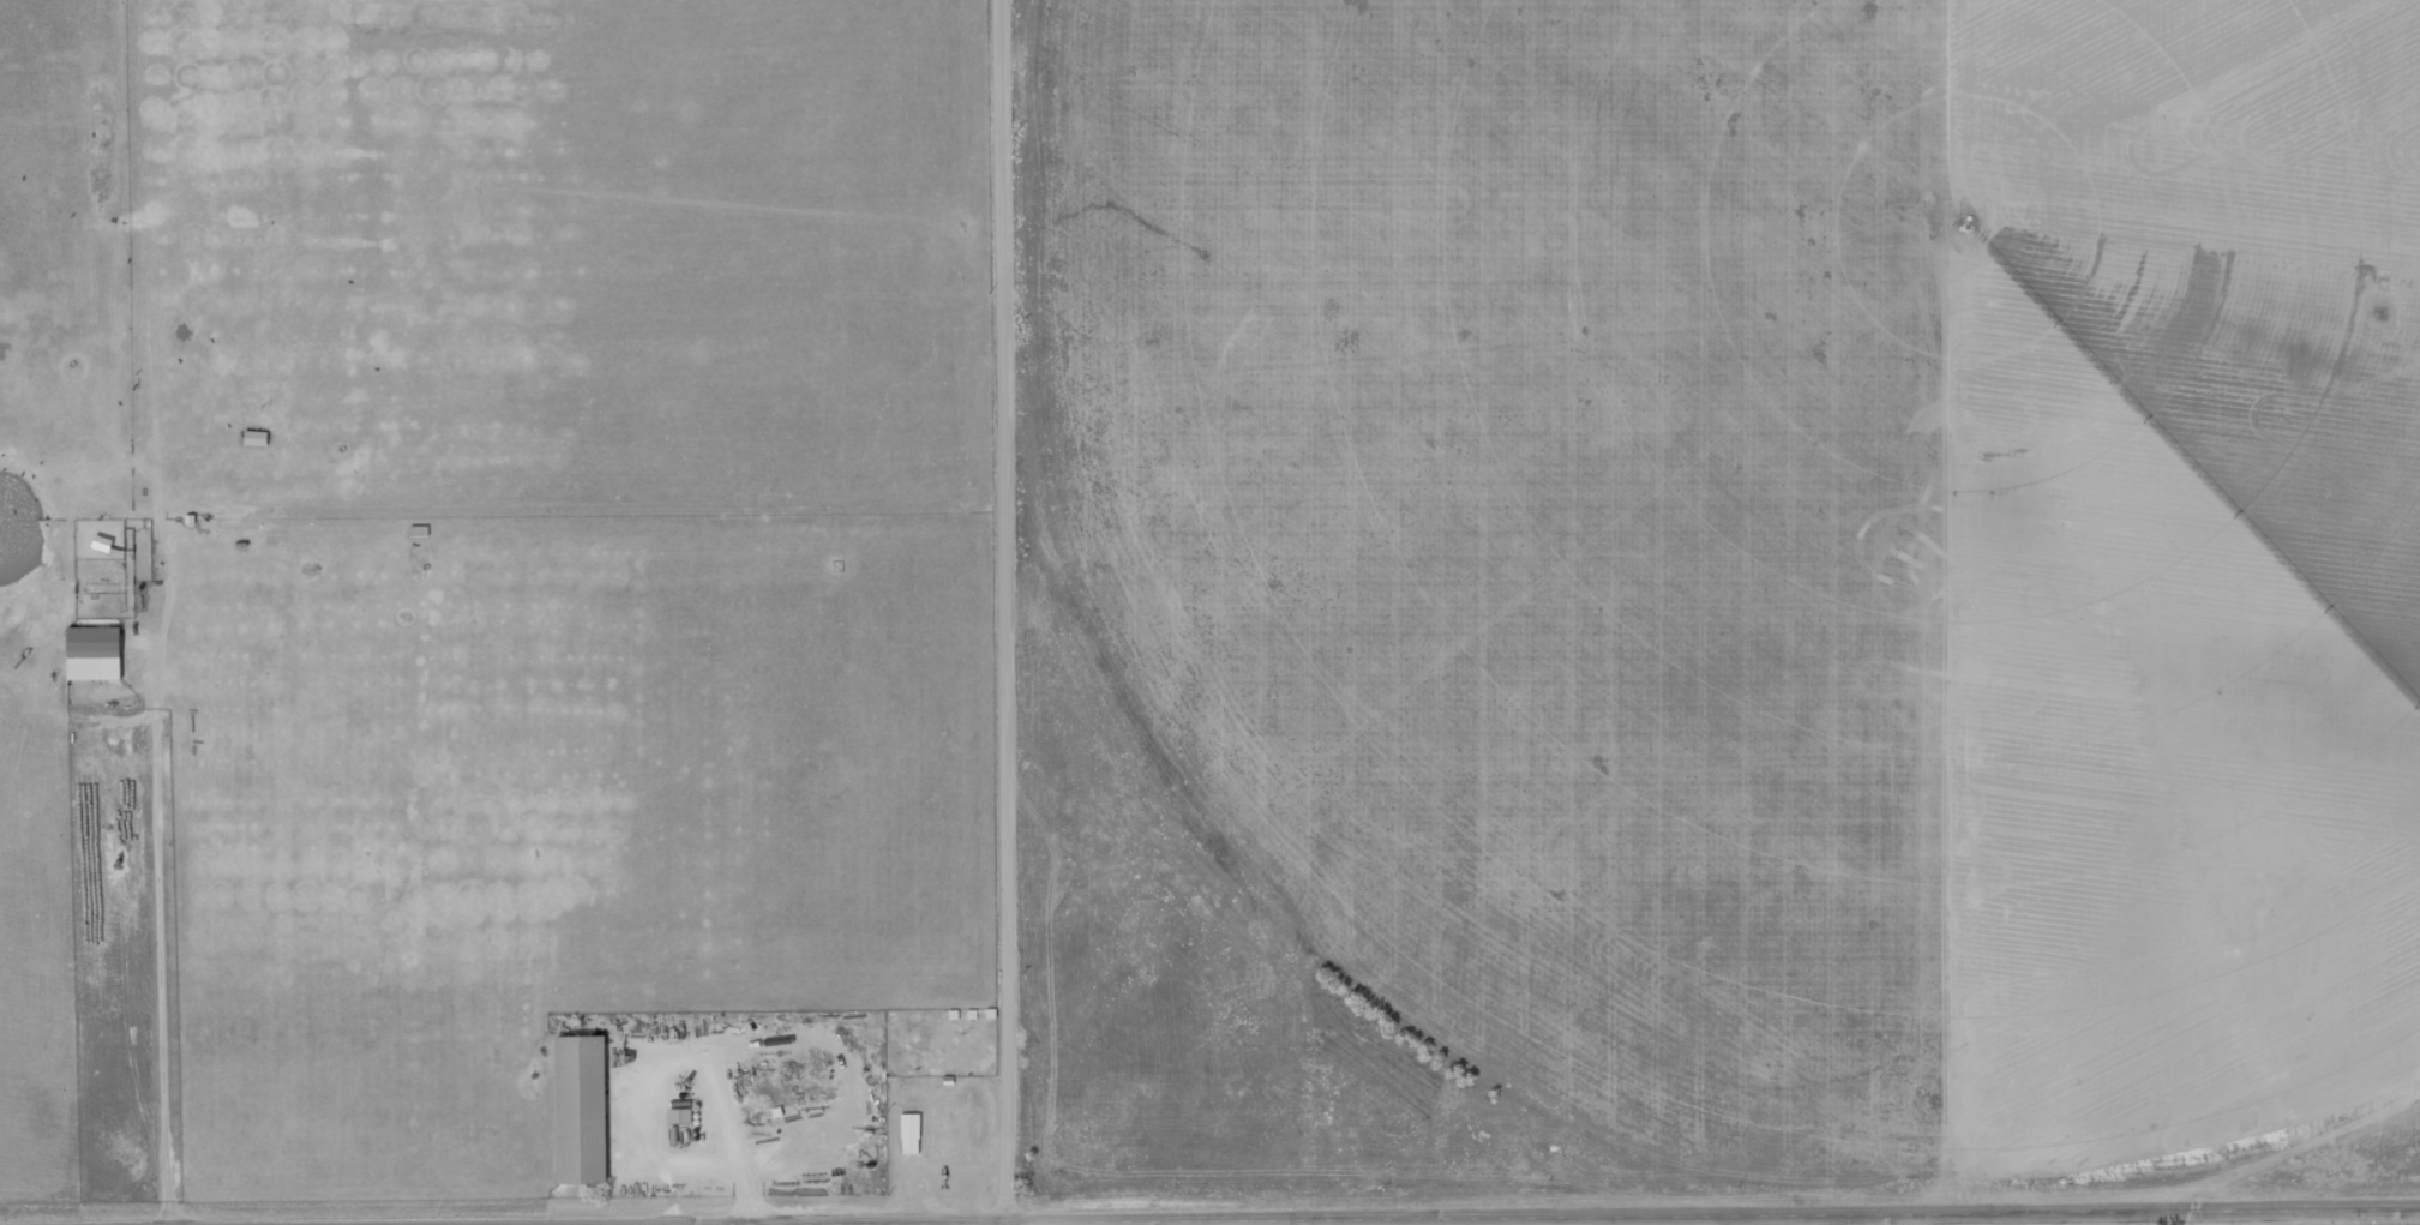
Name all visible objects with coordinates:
building: (413, 532)
road: (1005, 612)
building: (85, 654)
building: (571, 1110)
building: (905, 1134)
road: (1916, 1217)
road: (2236, 1219)

